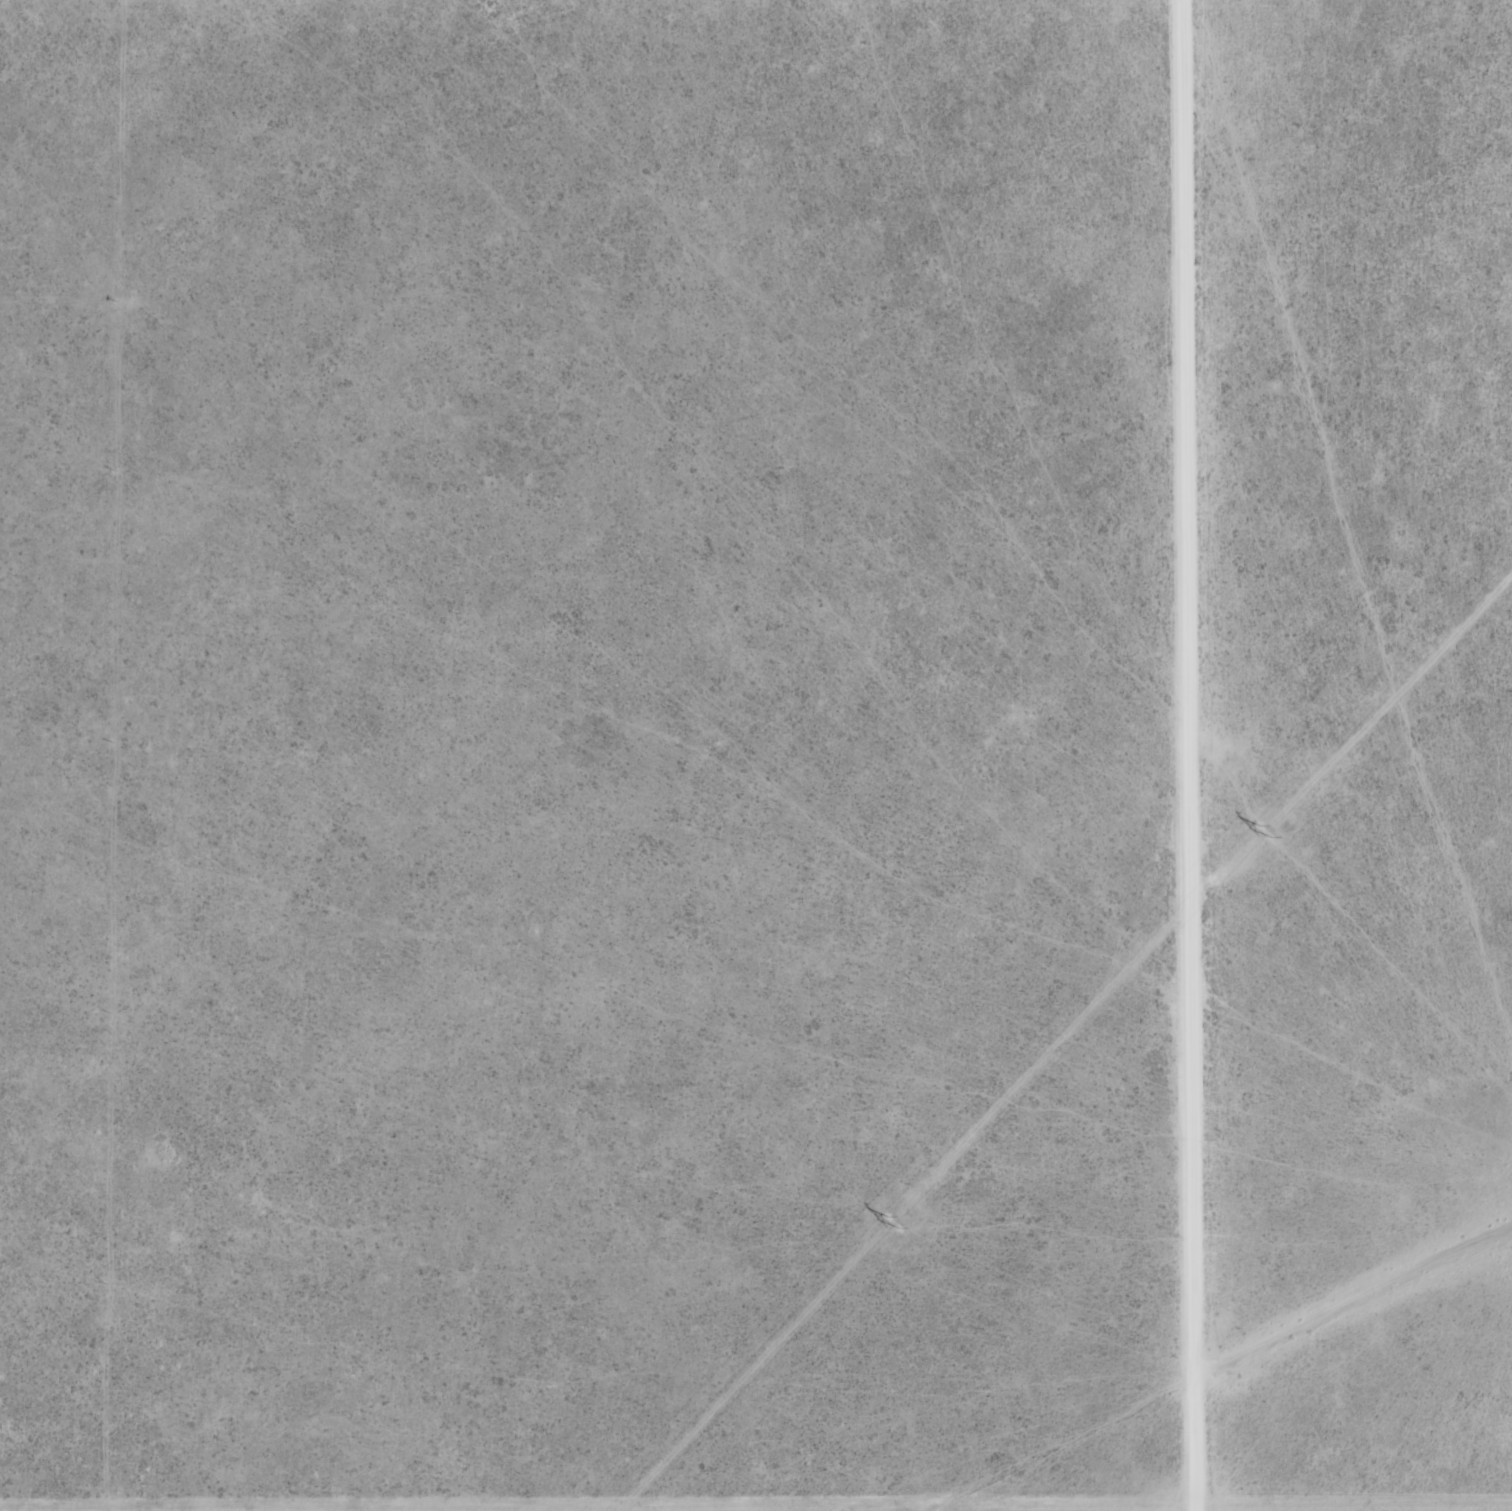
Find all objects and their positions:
road: (1191, 755)
power tower: (1267, 830)
power tower: (895, 1223)

